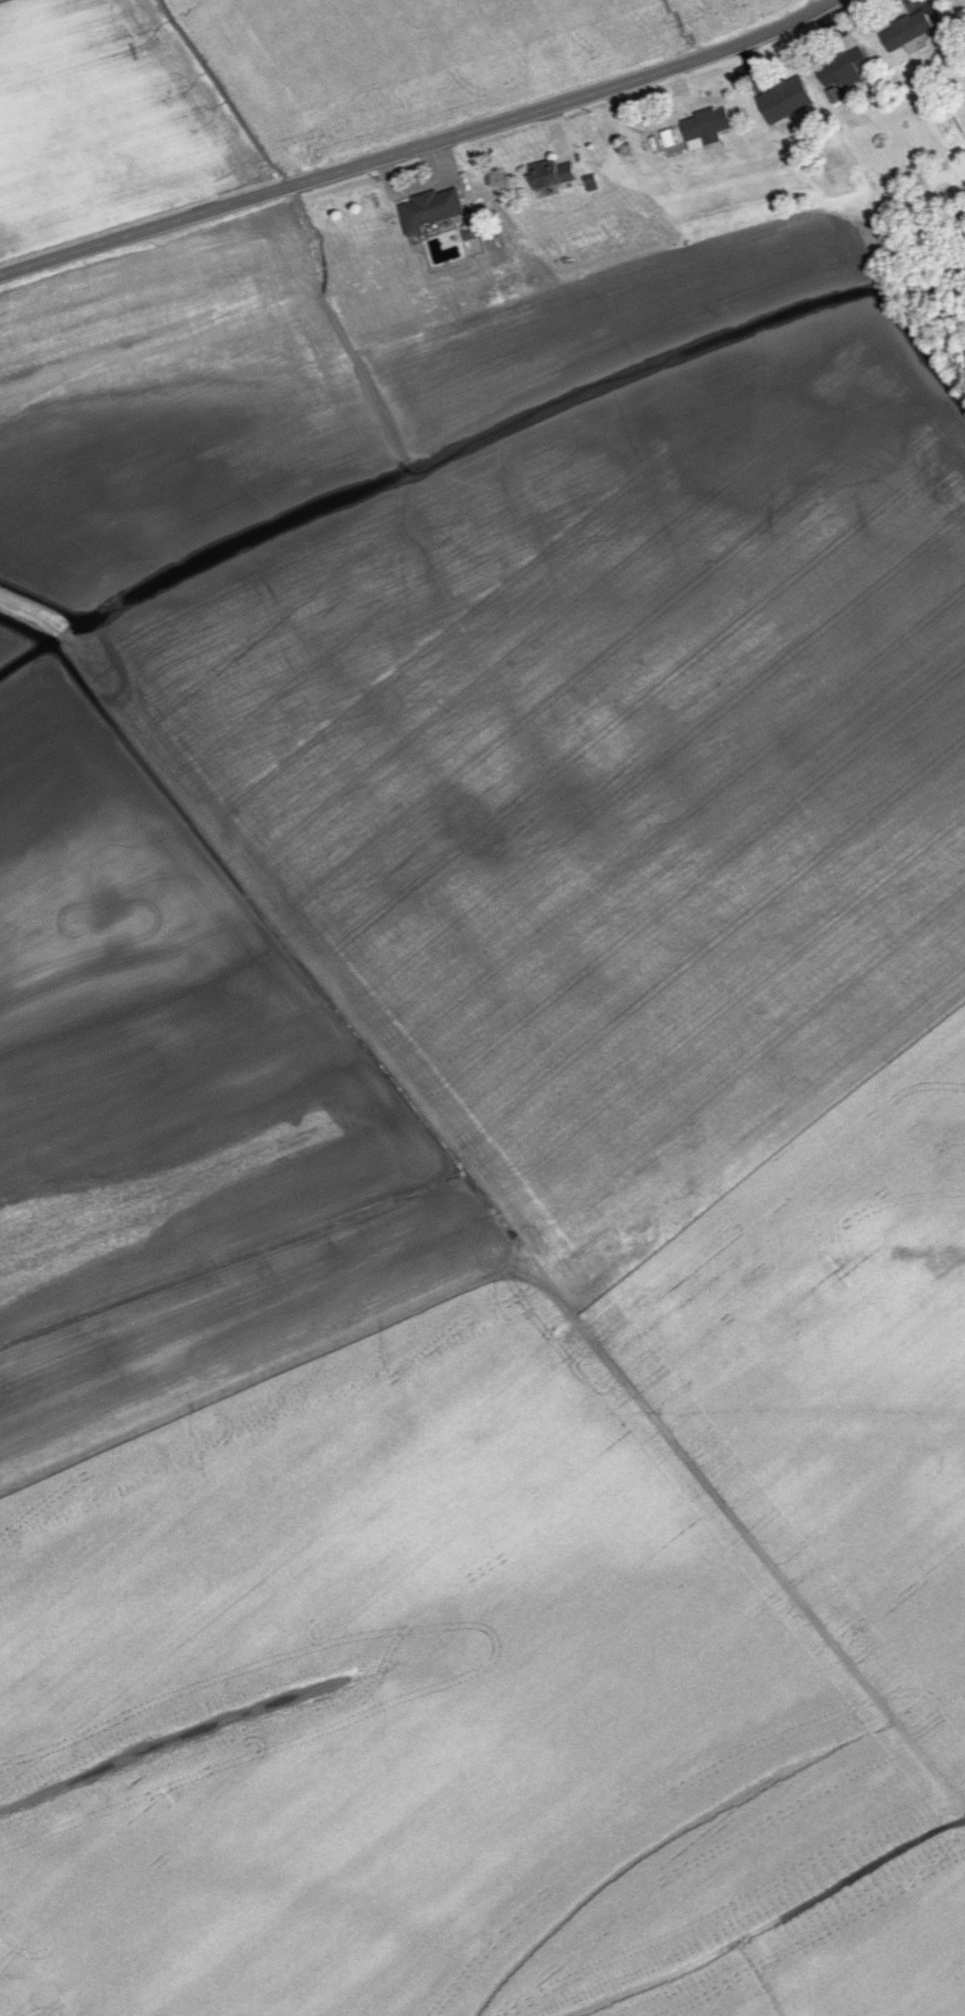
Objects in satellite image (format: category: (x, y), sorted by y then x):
building: (906, 30)
building: (843, 68)
building: (784, 95)
building: (705, 127)
road: (420, 146)
building: (550, 174)
building: (430, 209)

